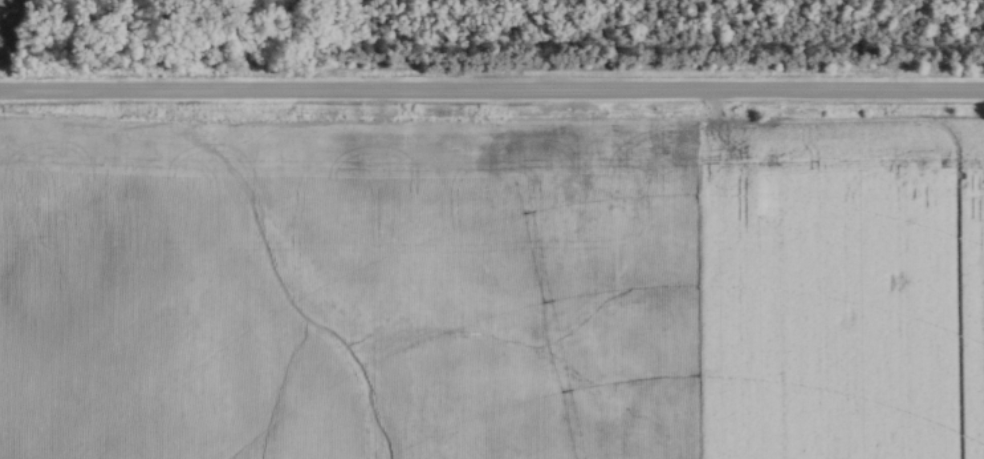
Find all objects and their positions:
road: (492, 95)

